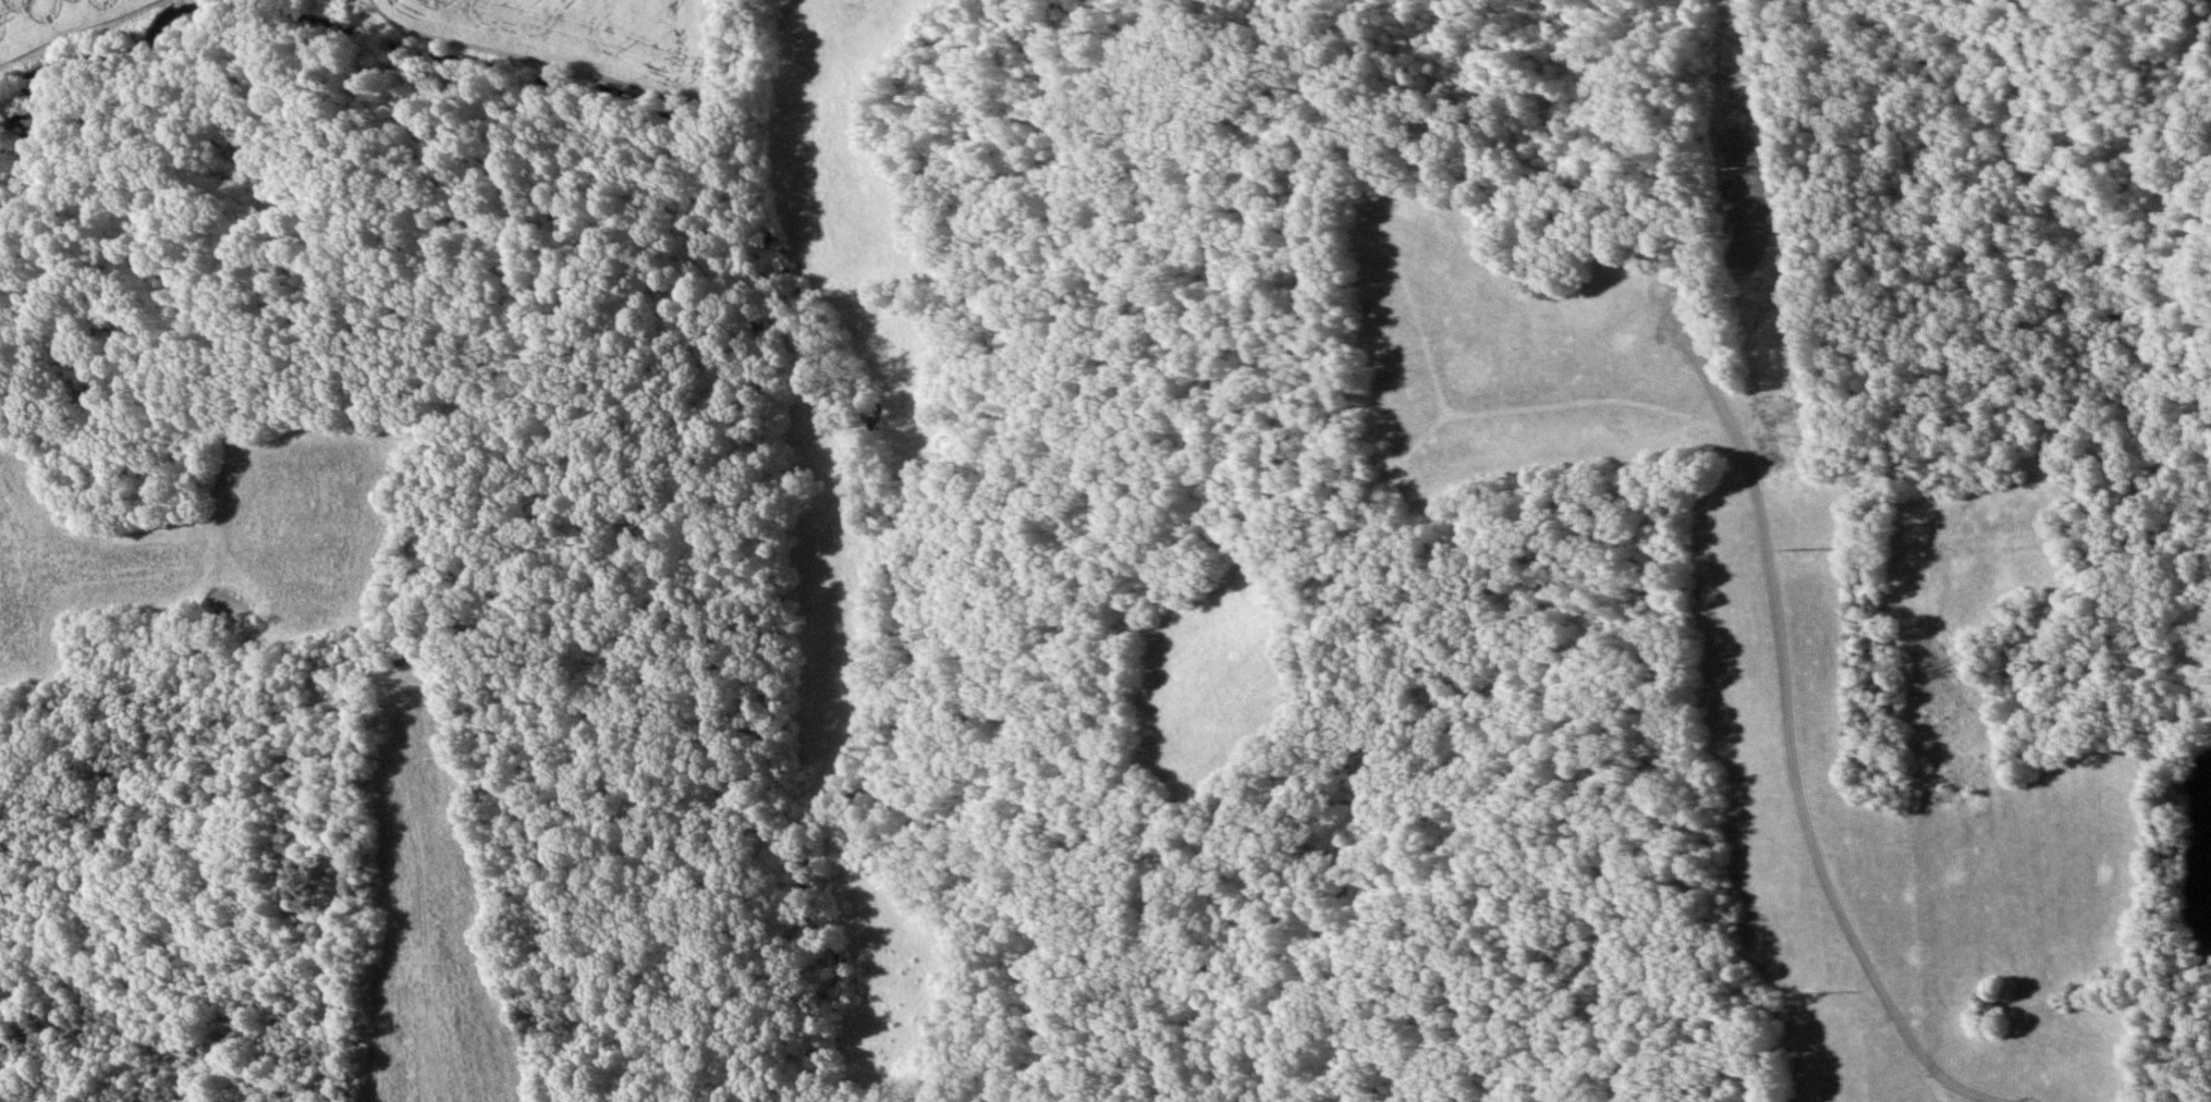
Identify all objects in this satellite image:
power tower: (1735, 162)
power tower: (1800, 550)
power tower: (1810, 995)

